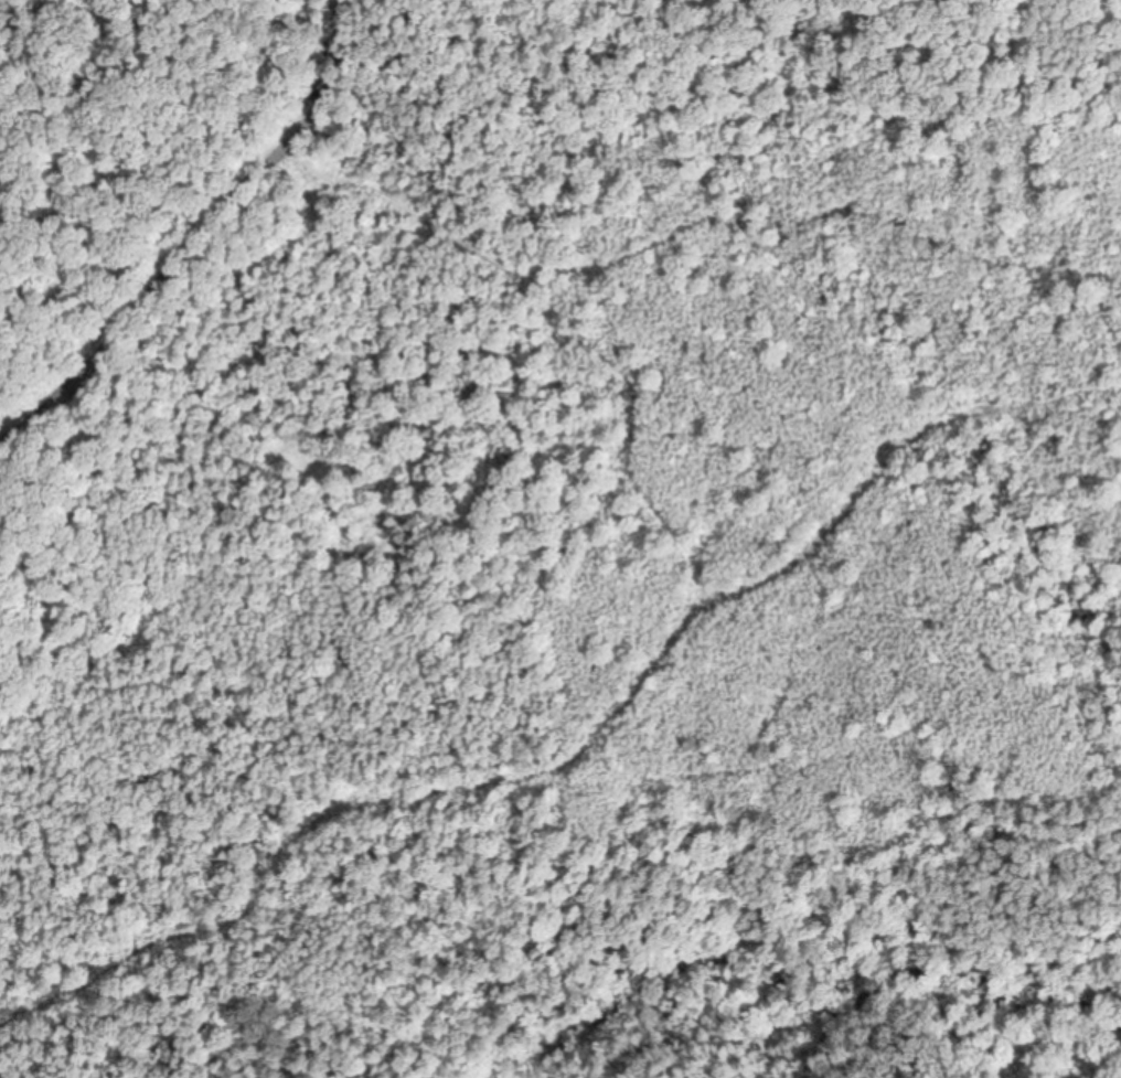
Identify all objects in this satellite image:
road: (200, 243)

